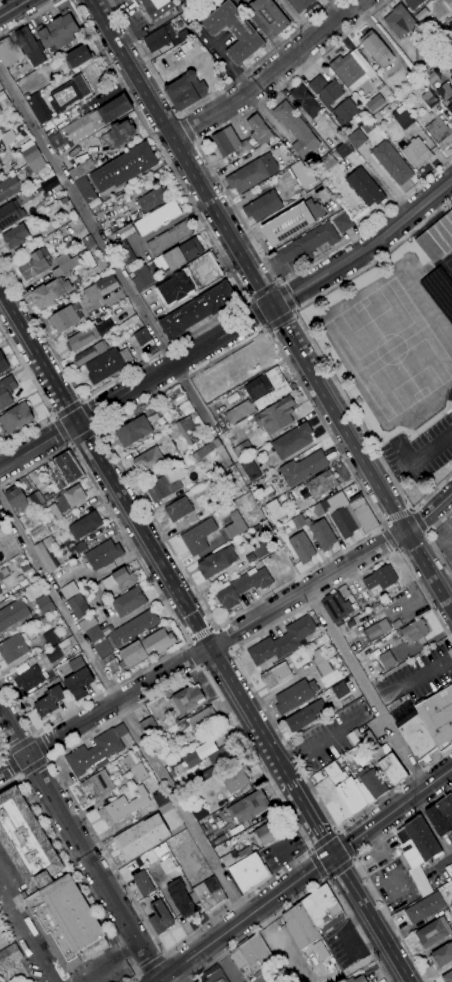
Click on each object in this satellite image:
building: (448, 2)
building: (300, 4)
building: (189, 5)
building: (415, 6)
road: (12, 7)
building: (157, 7)
building: (270, 15)
road: (28, 17)
building: (399, 21)
building: (447, 27)
building: (58, 31)
building: (234, 31)
building: (184, 33)
building: (420, 35)
building: (160, 38)
building: (30, 46)
building: (185, 48)
building: (376, 48)
building: (9, 52)
building: (78, 56)
building: (354, 71)
road: (269, 74)
building: (432, 77)
building: (186, 91)
building: (326, 91)
building: (69, 93)
building: (444, 93)
road: (203, 99)
building: (429, 99)
building: (305, 100)
building: (4, 101)
building: (375, 102)
building: (449, 107)
building: (39, 109)
building: (114, 109)
building: (345, 111)
building: (402, 118)
building: (368, 126)
building: (80, 128)
road: (187, 129)
building: (296, 129)
building: (259, 130)
building: (439, 132)
building: (119, 134)
building: (7, 137)
building: (356, 139)
building: (226, 142)
building: (400, 143)
building: (344, 150)
building: (417, 152)
building: (30, 153)
building: (391, 162)
building: (1, 165)
building: (124, 167)
building: (81, 168)
building: (0, 170)
building: (0, 172)
building: (252, 173)
building: (302, 174)
building: (49, 184)
building: (9, 187)
building: (365, 187)
building: (86, 189)
building: (28, 196)
building: (152, 199)
road: (230, 203)
building: (263, 206)
building: (11, 213)
building: (158, 218)
building: (292, 221)
building: (342, 223)
road: (209, 233)
building: (16, 236)
building: (169, 238)
building: (437, 238)
building: (88, 242)
building: (307, 244)
road: (108, 250)
building: (123, 252)
building: (180, 255)
building: (67, 262)
building: (35, 264)
building: (142, 278)
building: (189, 280)
building: (101, 288)
road: (262, 291)
building: (51, 292)
road: (285, 297)
road: (269, 303)
building: (198, 310)
road: (256, 315)
building: (66, 318)
road: (280, 321)
road: (230, 330)
road: (41, 331)
building: (142, 336)
building: (83, 338)
park: (394, 341)
road: (316, 350)
building: (89, 353)
building: (3, 363)
building: (108, 364)
road: (26, 373)
building: (177, 390)
building: (6, 391)
building: (259, 395)
building: (179, 399)
road: (80, 402)
road: (82, 402)
building: (187, 408)
road: (68, 409)
road: (90, 416)
building: (276, 416)
building: (16, 417)
road: (55, 417)
road: (53, 419)
traffic signals: (79, 422)
road: (98, 428)
road: (61, 431)
road: (97, 431)
building: (134, 431)
building: (191, 432)
road: (26, 433)
road: (84, 437)
building: (293, 441)
road: (70, 444)
road: (72, 445)
building: (242, 449)
building: (203, 451)
building: (219, 451)
parking lot: (420, 451)
building: (150, 460)
road: (35, 467)
building: (250, 468)
building: (302, 468)
building: (66, 469)
building: (265, 472)
building: (321, 484)
building: (164, 486)
building: (17, 499)
building: (36, 499)
building: (67, 500)
building: (215, 506)
building: (178, 509)
building: (275, 509)
building: (348, 516)
road: (398, 518)
road: (421, 520)
building: (2, 521)
building: (298, 521)
building: (85, 525)
building: (232, 525)
road: (383, 527)
building: (259, 531)
road: (143, 532)
building: (321, 534)
building: (198, 537)
road: (390, 539)
road: (430, 541)
road: (412, 543)
building: (80, 547)
building: (301, 547)
building: (260, 550)
building: (46, 554)
building: (103, 555)
building: (217, 562)
building: (25, 568)
building: (4, 571)
building: (120, 579)
building: (380, 580)
building: (242, 587)
building: (69, 590)
building: (1, 592)
building: (0, 595)
building: (129, 602)
building: (44, 604)
building: (77, 606)
building: (336, 607)
building: (13, 614)
road: (175, 620)
building: (43, 622)
road: (217, 626)
building: (342, 629)
building: (377, 630)
building: (414, 631)
building: (126, 632)
building: (94, 633)
road: (227, 635)
building: (52, 636)
road: (222, 638)
building: (282, 641)
road: (186, 645)
building: (13, 648)
road: (228, 649)
building: (142, 650)
building: (54, 654)
road: (193, 655)
building: (386, 659)
building: (33, 662)
building: (321, 663)
road: (198, 666)
road: (242, 672)
building: (277, 674)
building: (78, 678)
building: (30, 679)
road: (413, 679)
road: (210, 681)
road: (365, 688)
building: (340, 689)
building: (295, 695)
building: (186, 699)
building: (49, 701)
road: (17, 705)
road: (122, 708)
building: (305, 715)
building: (174, 720)
building: (198, 720)
building: (426, 724)
building: (148, 726)
road: (33, 736)
road: (35, 736)
building: (358, 736)
road: (19, 744)
road: (41, 748)
road: (2, 751)
building: (96, 751)
road: (3, 754)
building: (223, 755)
building: (361, 756)
building: (165, 757)
road: (47, 759)
building: (131, 759)
building: (192, 759)
building: (385, 759)
road: (47, 760)
road: (11, 765)
road: (34, 769)
building: (138, 772)
road: (19, 776)
road: (21, 777)
building: (235, 779)
road: (10, 783)
building: (98, 785)
building: (360, 789)
building: (160, 799)
building: (333, 801)
building: (123, 806)
building: (249, 806)
road: (392, 811)
building: (198, 812)
building: (441, 815)
road: (309, 816)
road: (424, 817)
road: (335, 832)
road: (338, 832)
building: (265, 834)
building: (140, 837)
road: (323, 840)
building: (27, 841)
road: (345, 845)
building: (161, 849)
road: (311, 849)
road: (82, 850)
parking lot: (281, 850)
road: (310, 851)
building: (417, 851)
traffic signals: (333, 855)
parking lot: (379, 855)
building: (235, 857)
road: (353, 858)
road: (353, 861)
parking lot: (439, 863)
road: (317, 864)
road: (340, 869)
road: (360, 869)
road: (291, 871)
building: (248, 873)
road: (80, 877)
road: (326, 877)
road: (328, 878)
building: (143, 883)
parking lot: (394, 886)
building: (209, 894)
road: (306, 894)
building: (180, 898)
building: (322, 907)
building: (425, 908)
building: (160, 917)
road: (245, 917)
road: (370, 918)
building: (66, 923)
building: (300, 926)
road: (27, 931)
building: (433, 932)
road: (152, 934)
parking lot: (343, 943)
building: (255, 954)
building: (442, 955)
building: (9, 956)
road: (164, 956)
road: (111, 963)
building: (241, 964)
road: (152, 965)
road: (139, 974)
building: (216, 977)
building: (447, 977)
road: (191, 979)
building: (356, 979)
road: (132, 980)
road: (189, 981)

